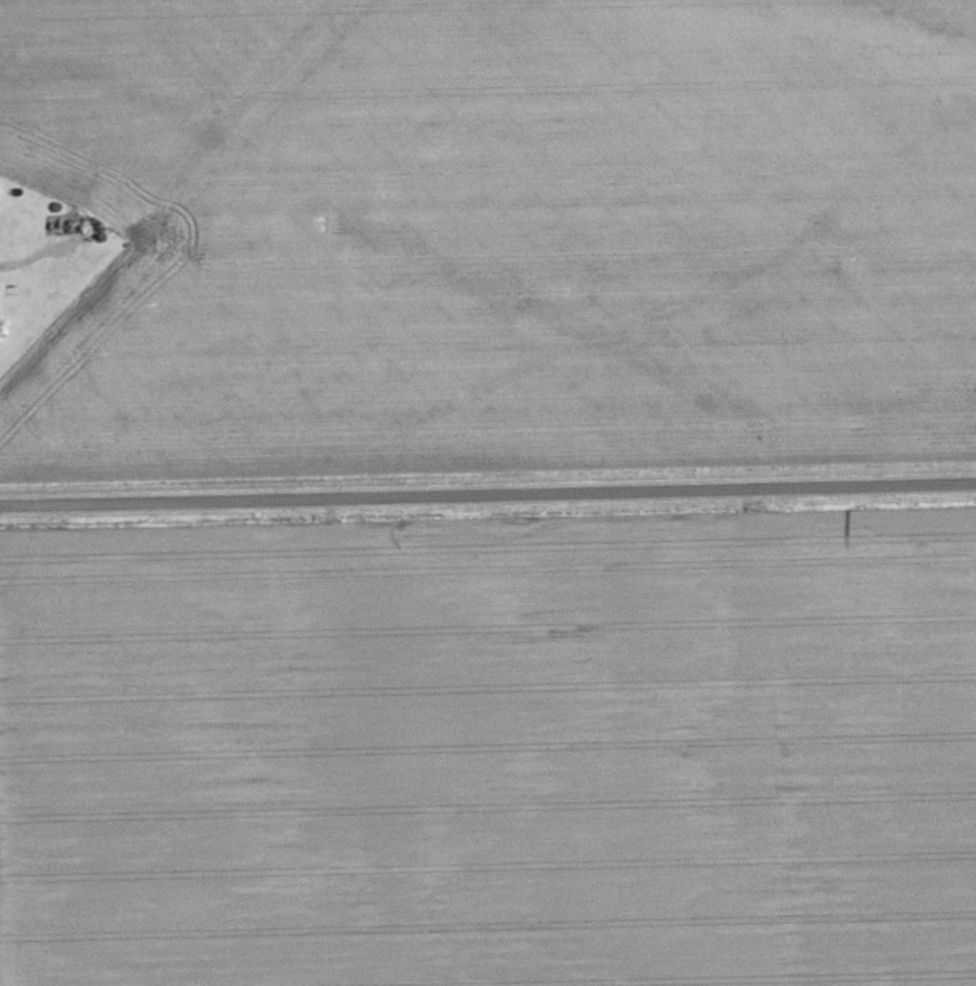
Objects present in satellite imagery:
road: (488, 490)

